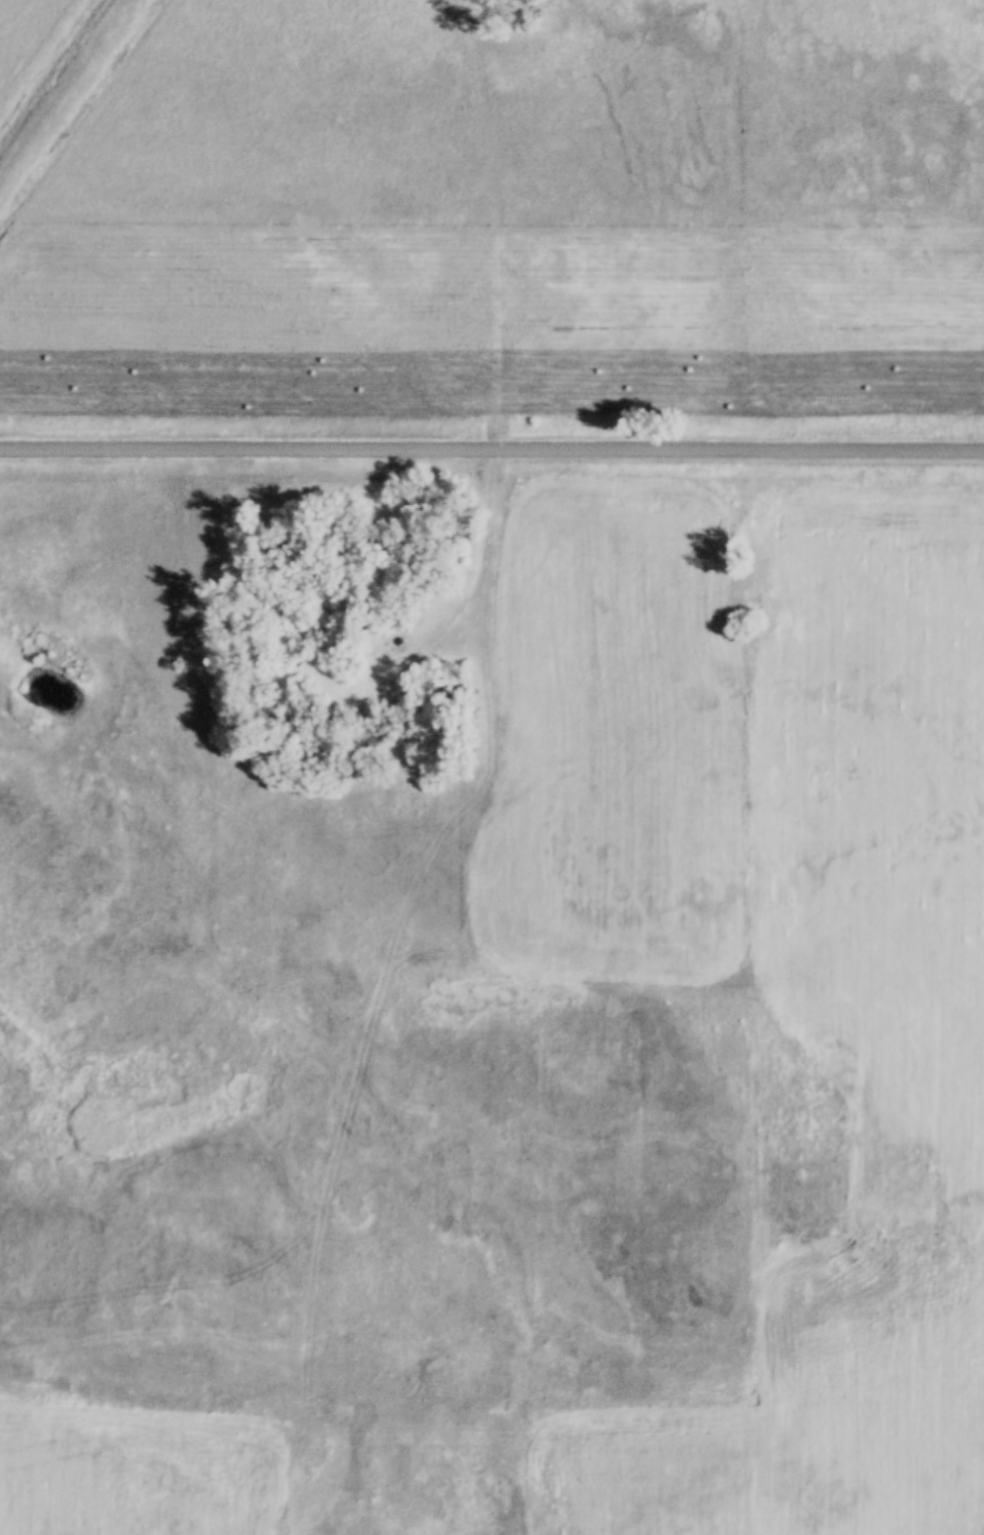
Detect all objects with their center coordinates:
road: (492, 447)
road: (479, 801)

